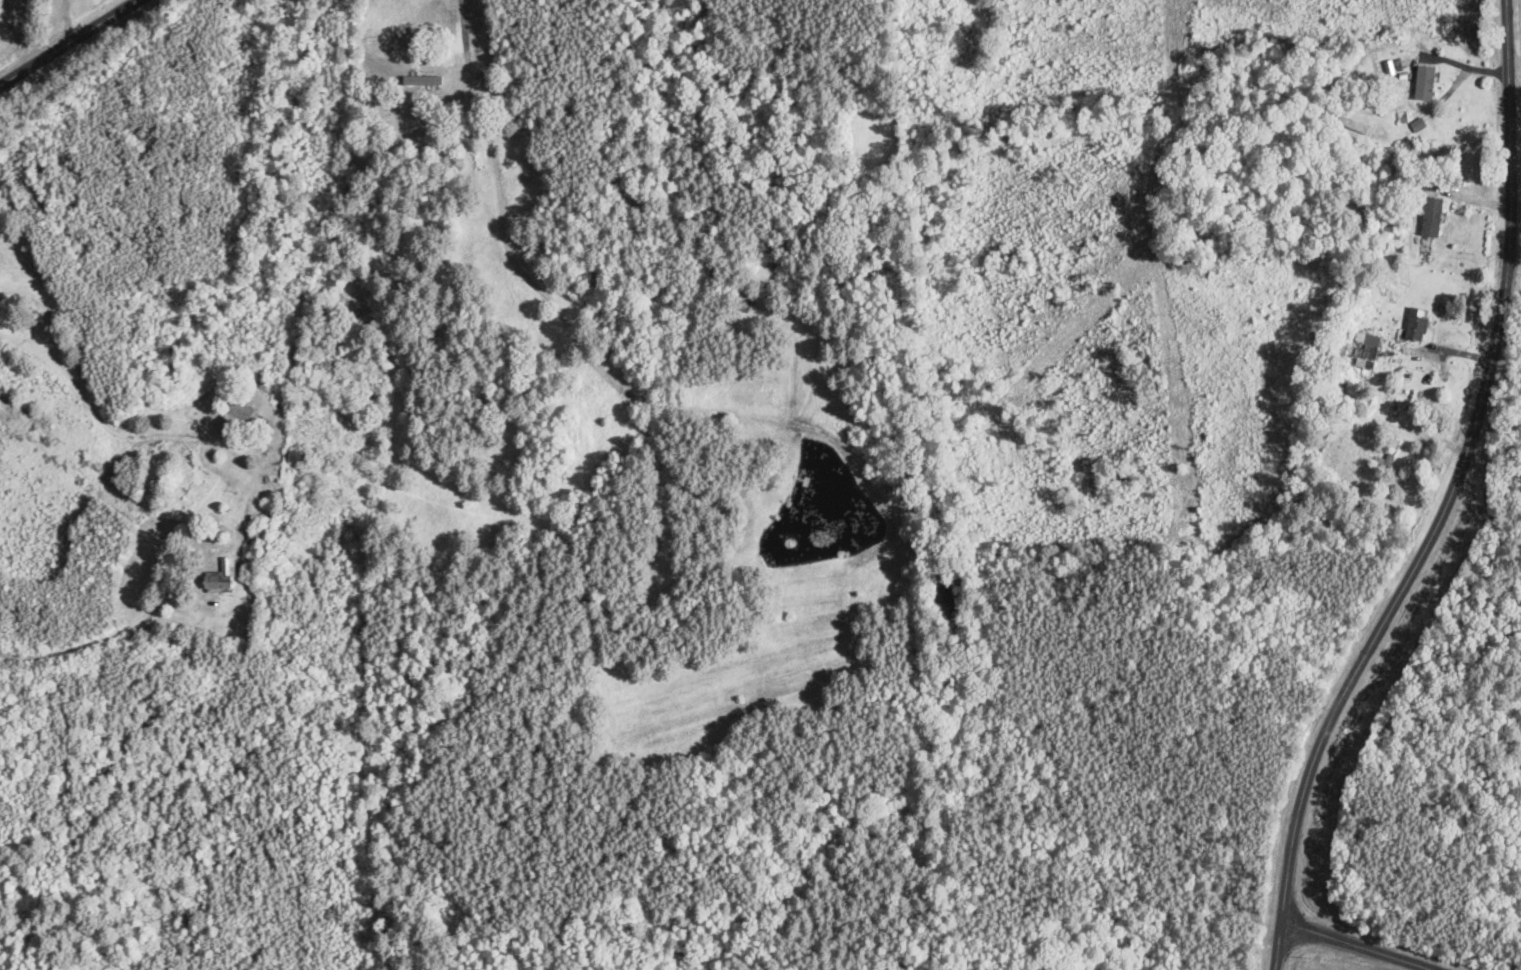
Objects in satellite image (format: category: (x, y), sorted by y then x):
road: (70, 43)
building: (1425, 83)
building: (402, 114)
building: (1350, 124)
building: (1432, 216)
building: (745, 300)
building: (1417, 324)
building: (1368, 352)
building: (375, 394)
building: (238, 413)
building: (298, 457)
building: (1387, 458)
road: (1461, 477)
building: (221, 578)
road: (1280, 944)
road: (1362, 944)

